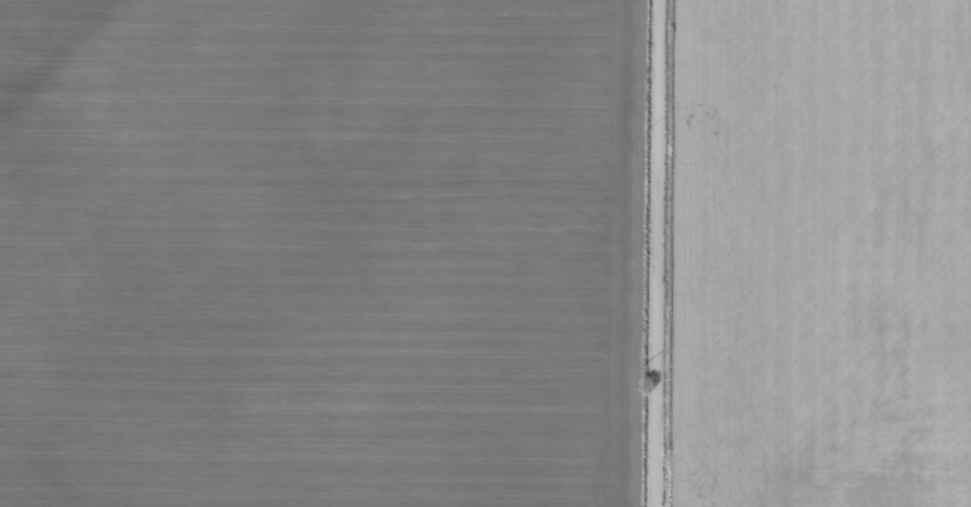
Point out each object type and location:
road: (663, 253)

